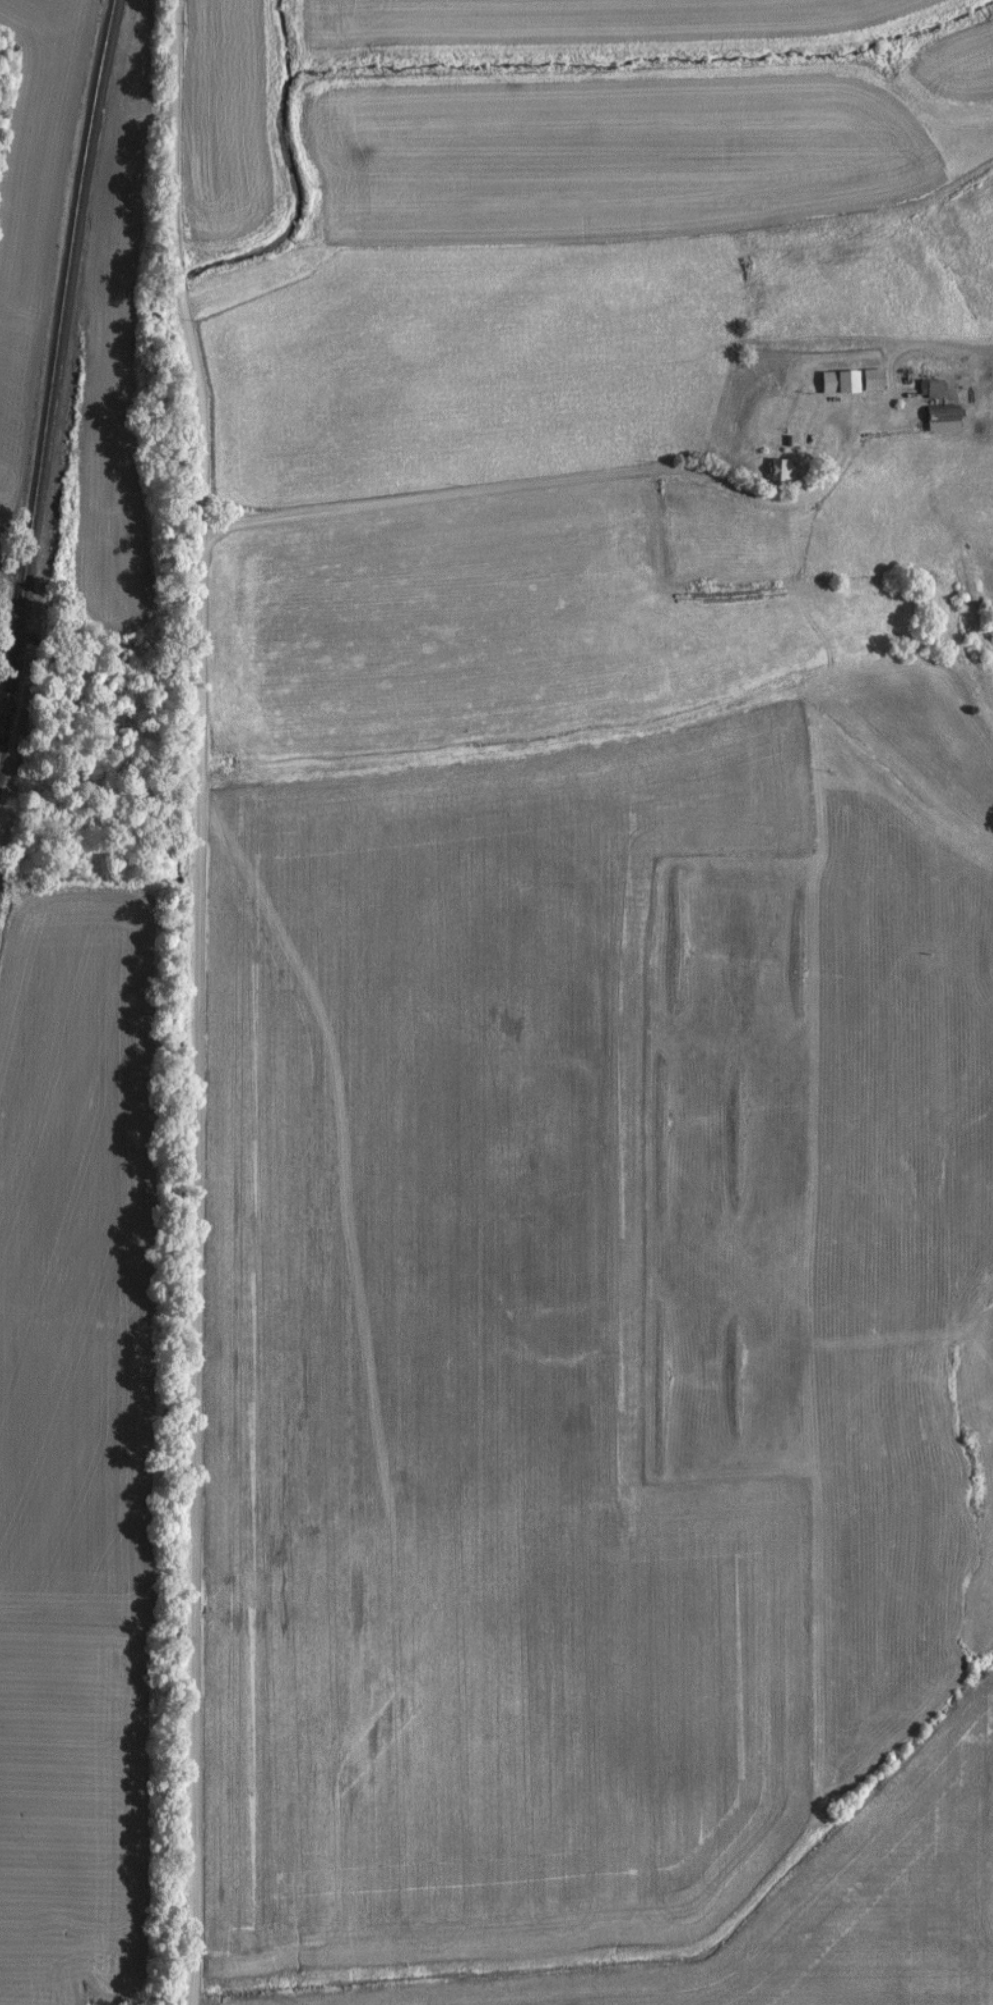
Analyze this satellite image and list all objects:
railway: (56, 309)
building: (866, 380)
building: (925, 389)
building: (936, 418)
building: (773, 470)
road: (548, 480)
railway: (12, 642)
railway: (5, 698)
road: (199, 1001)

